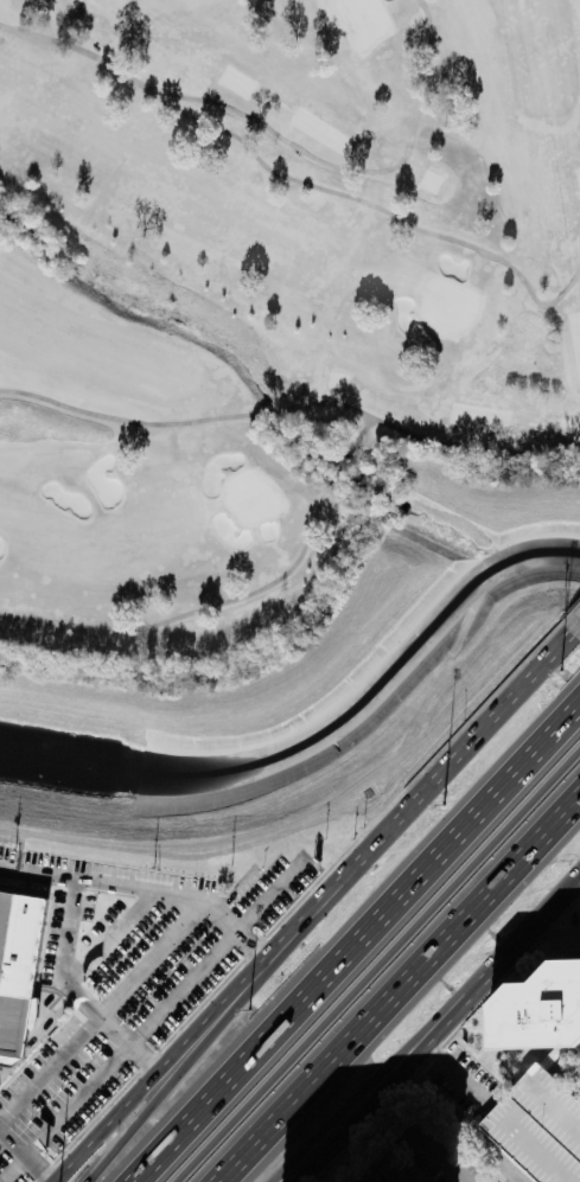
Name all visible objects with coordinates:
park: (264, 294)
road: (578, 620)
river: (319, 733)
road: (423, 791)
road: (146, 884)
road: (113, 934)
road: (357, 946)
road: (153, 954)
road: (377, 966)
building: (18, 971)
road: (64, 973)
road: (485, 978)
road: (404, 992)
building: (538, 1008)
road: (147, 1054)
road: (120, 1055)
road: (211, 1059)
road: (160, 1067)
road: (50, 1068)
road: (464, 1123)
road: (333, 1130)
road: (342, 1130)
road: (28, 1154)
road: (503, 1174)

